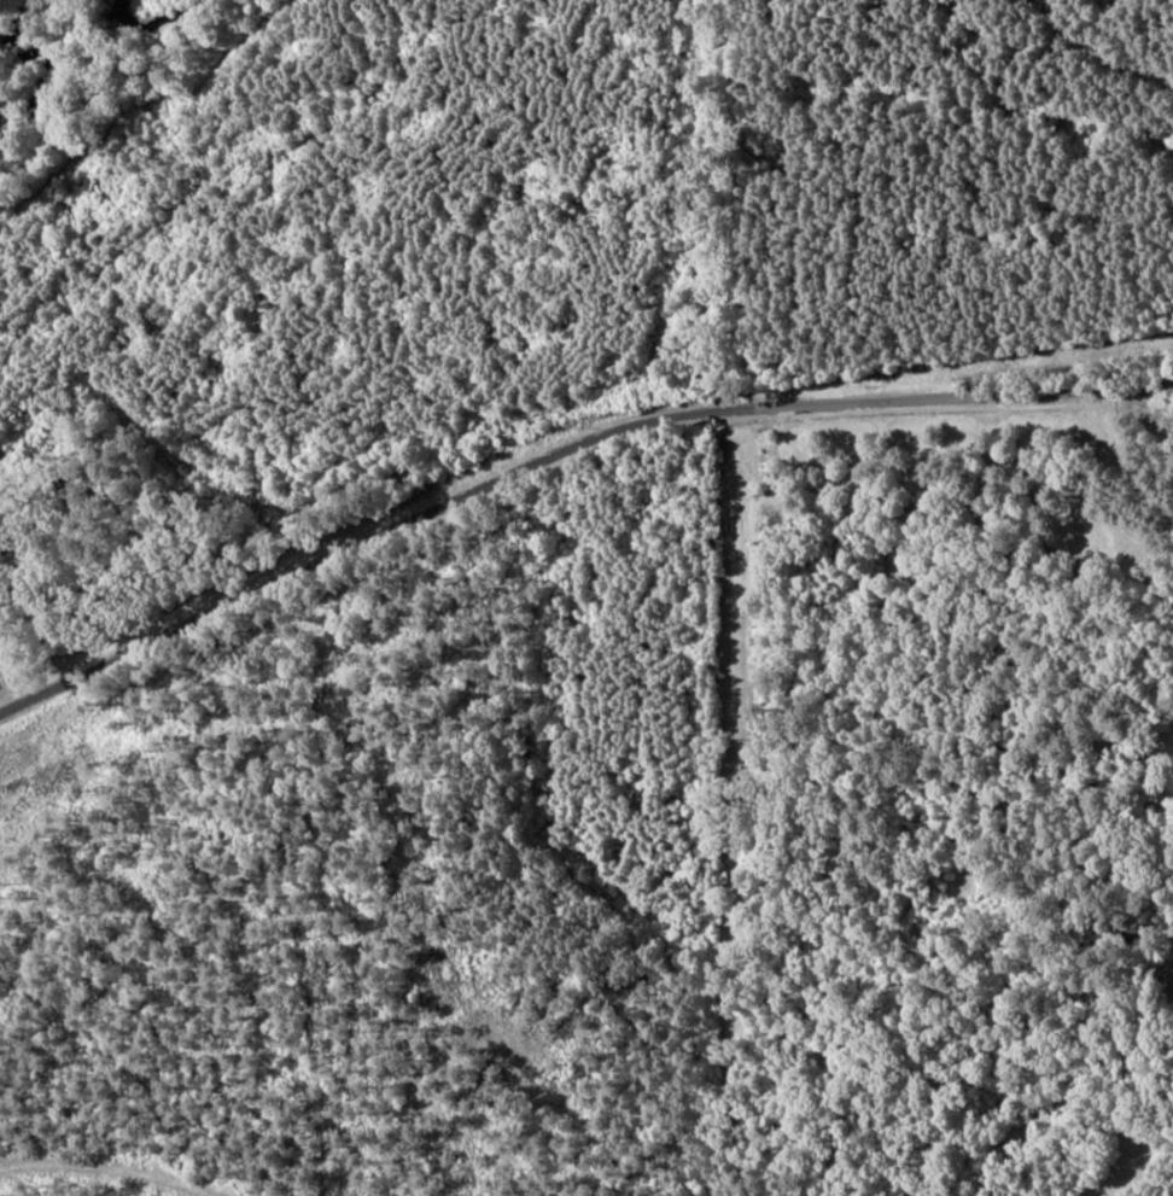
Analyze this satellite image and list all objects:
road: (923, 409)
road: (338, 614)

